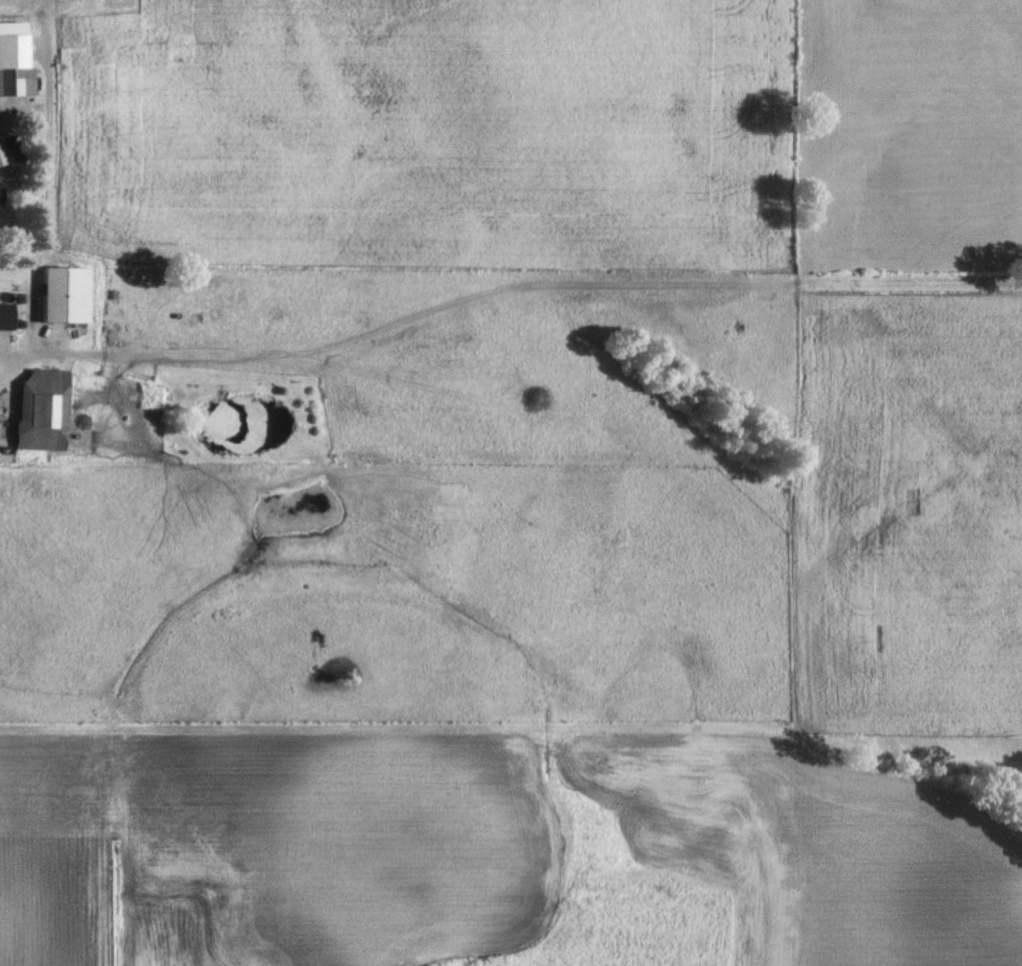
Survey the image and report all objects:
building: (11, 80)
road: (43, 182)
building: (58, 294)
building: (3, 315)
building: (37, 409)

